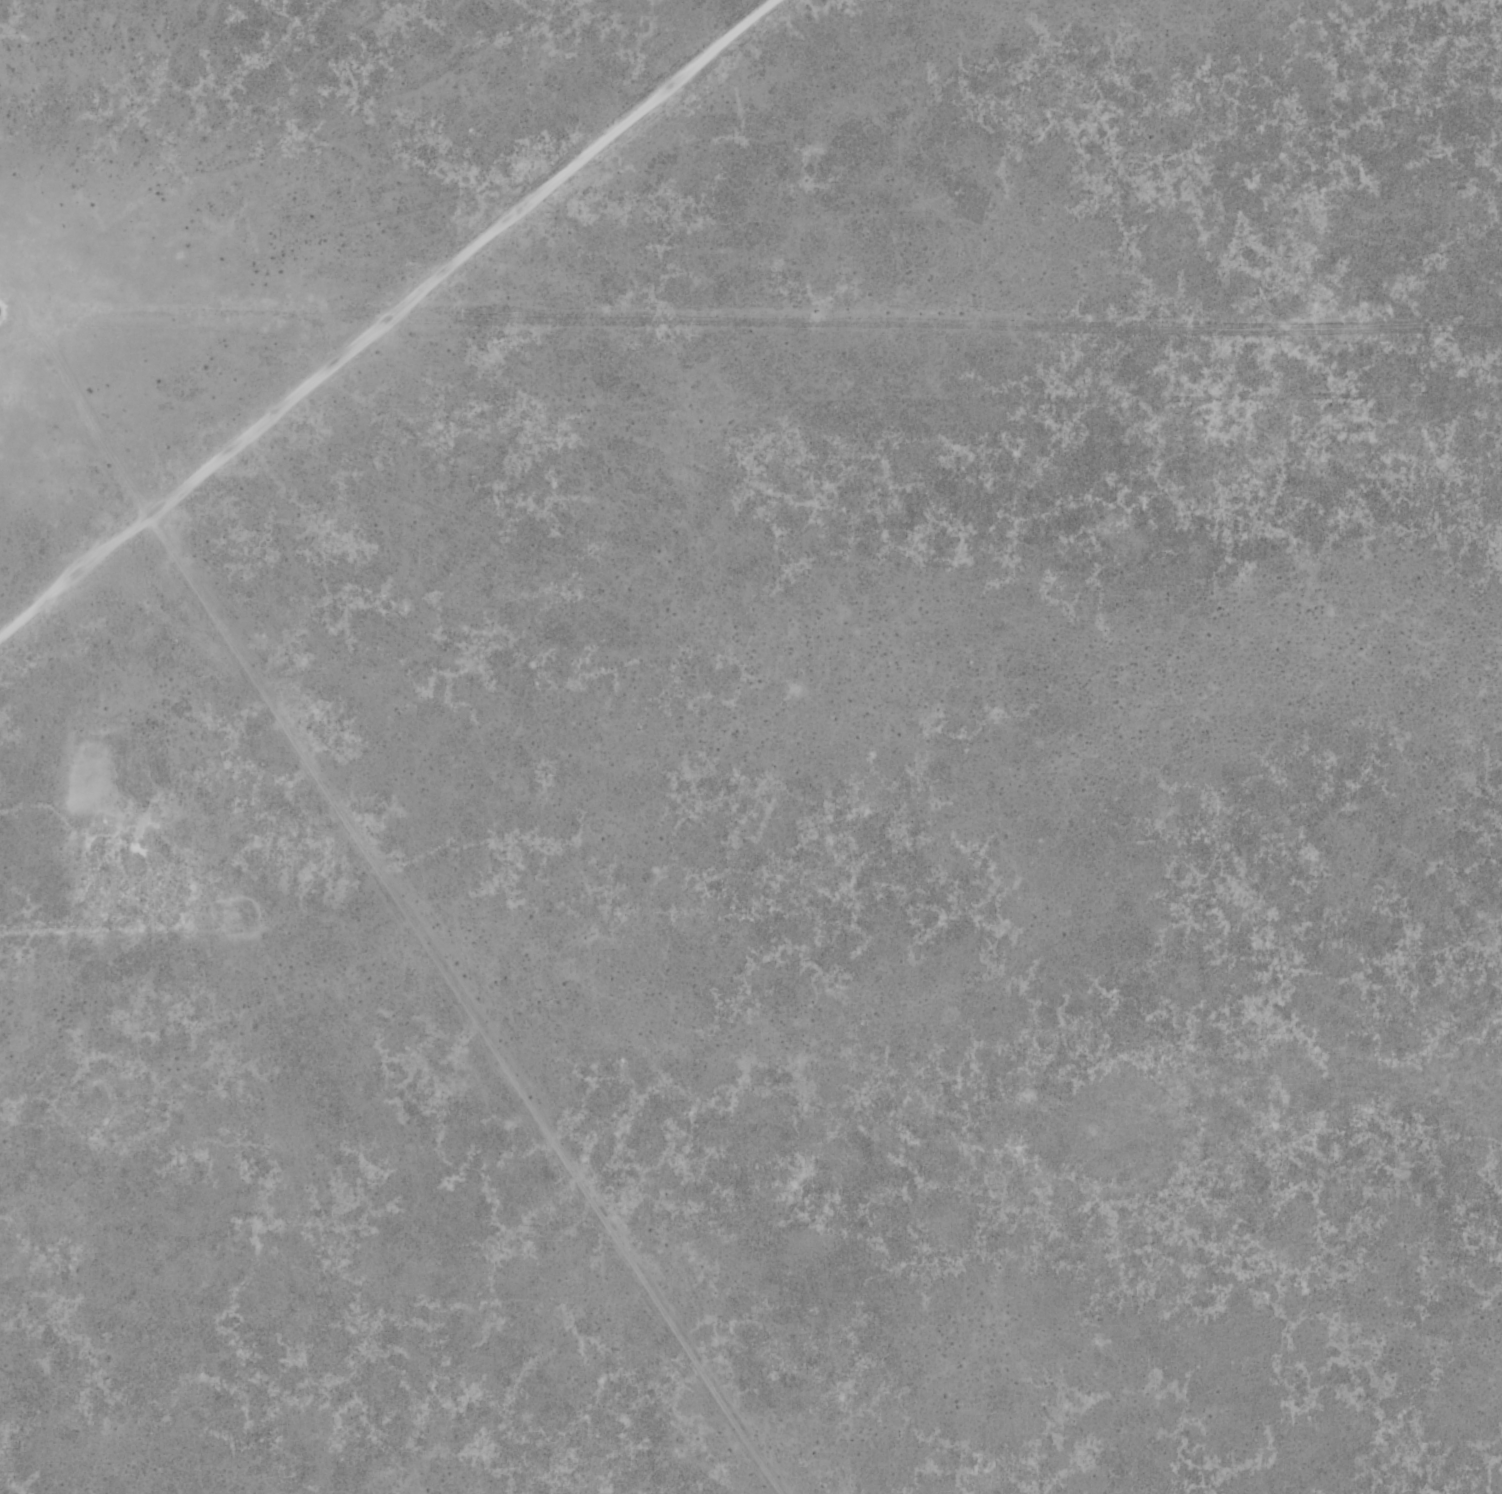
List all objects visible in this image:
road: (452, 267)
road: (66, 443)
road: (66, 594)
road: (441, 1024)

